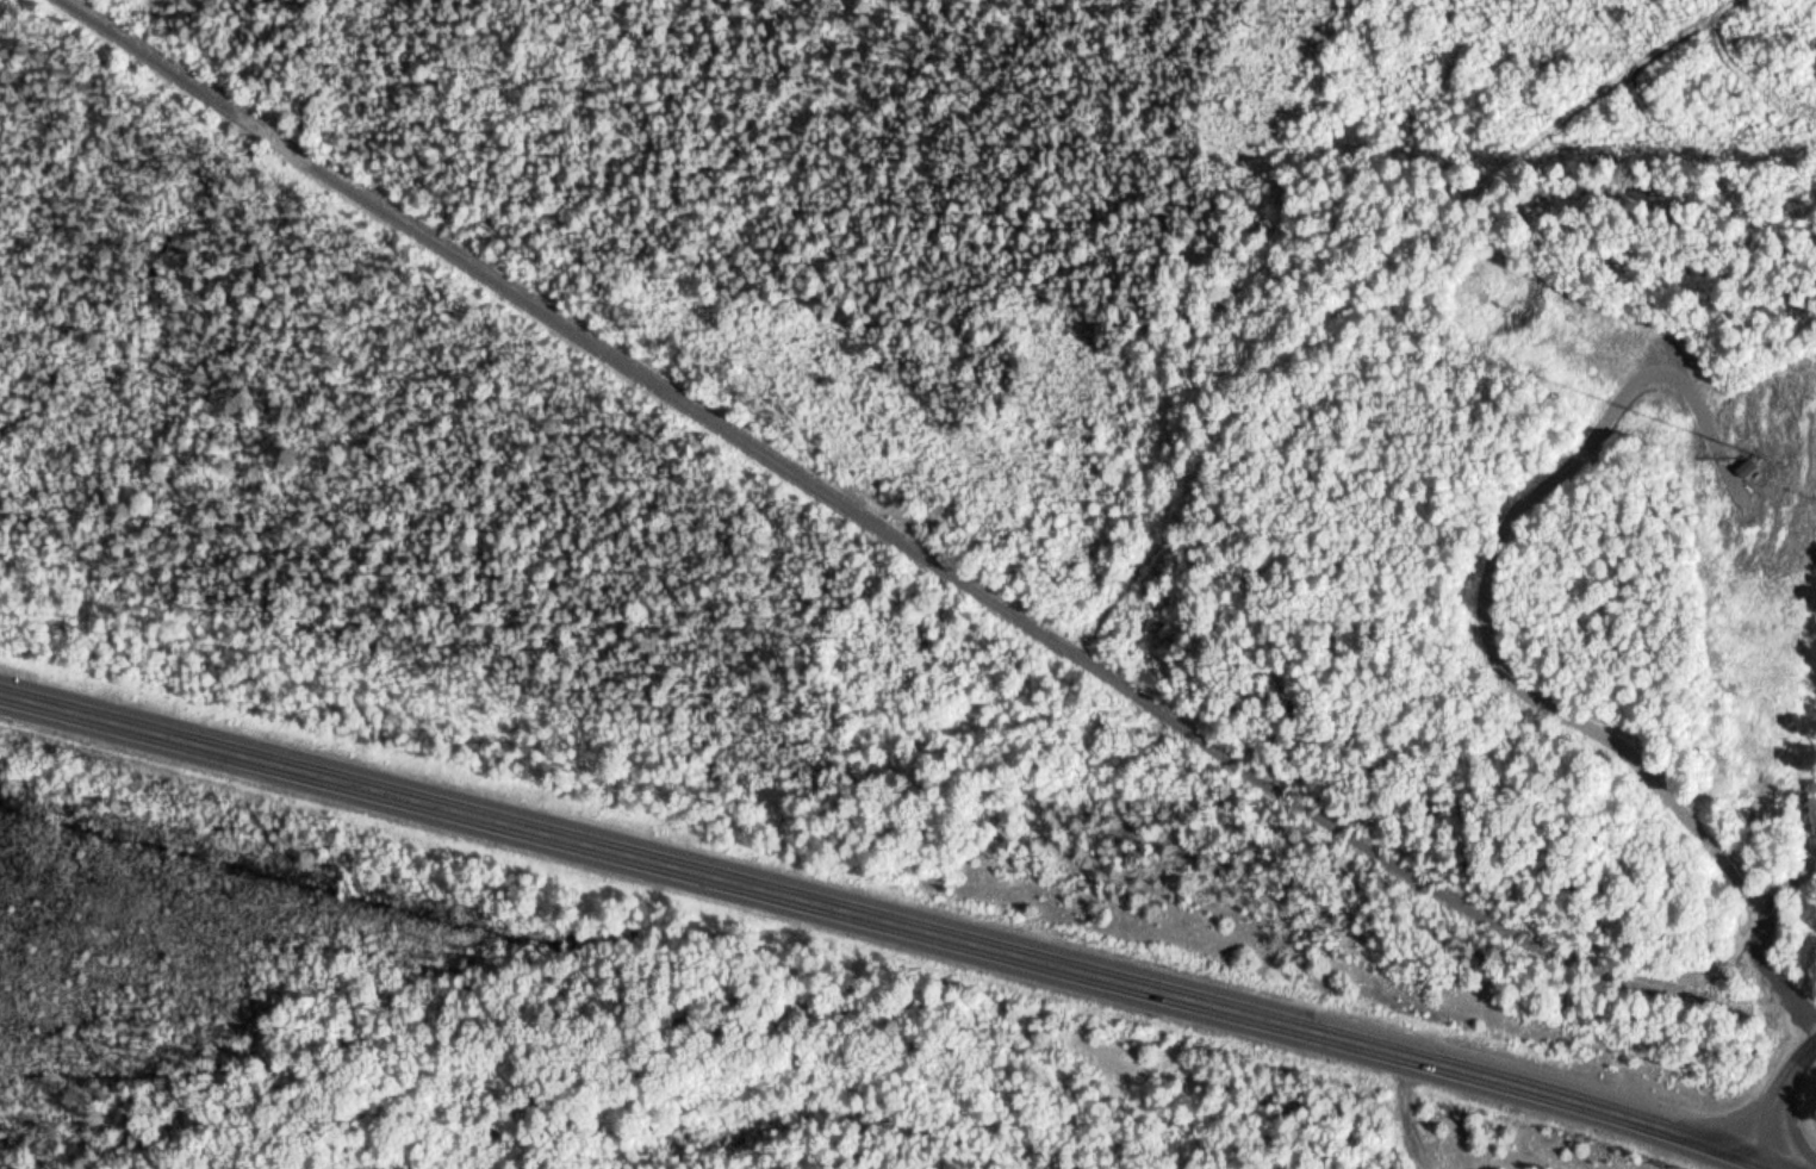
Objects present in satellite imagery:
road: (925, 546)
road: (909, 920)
road: (1783, 1089)
road: (1413, 1113)

